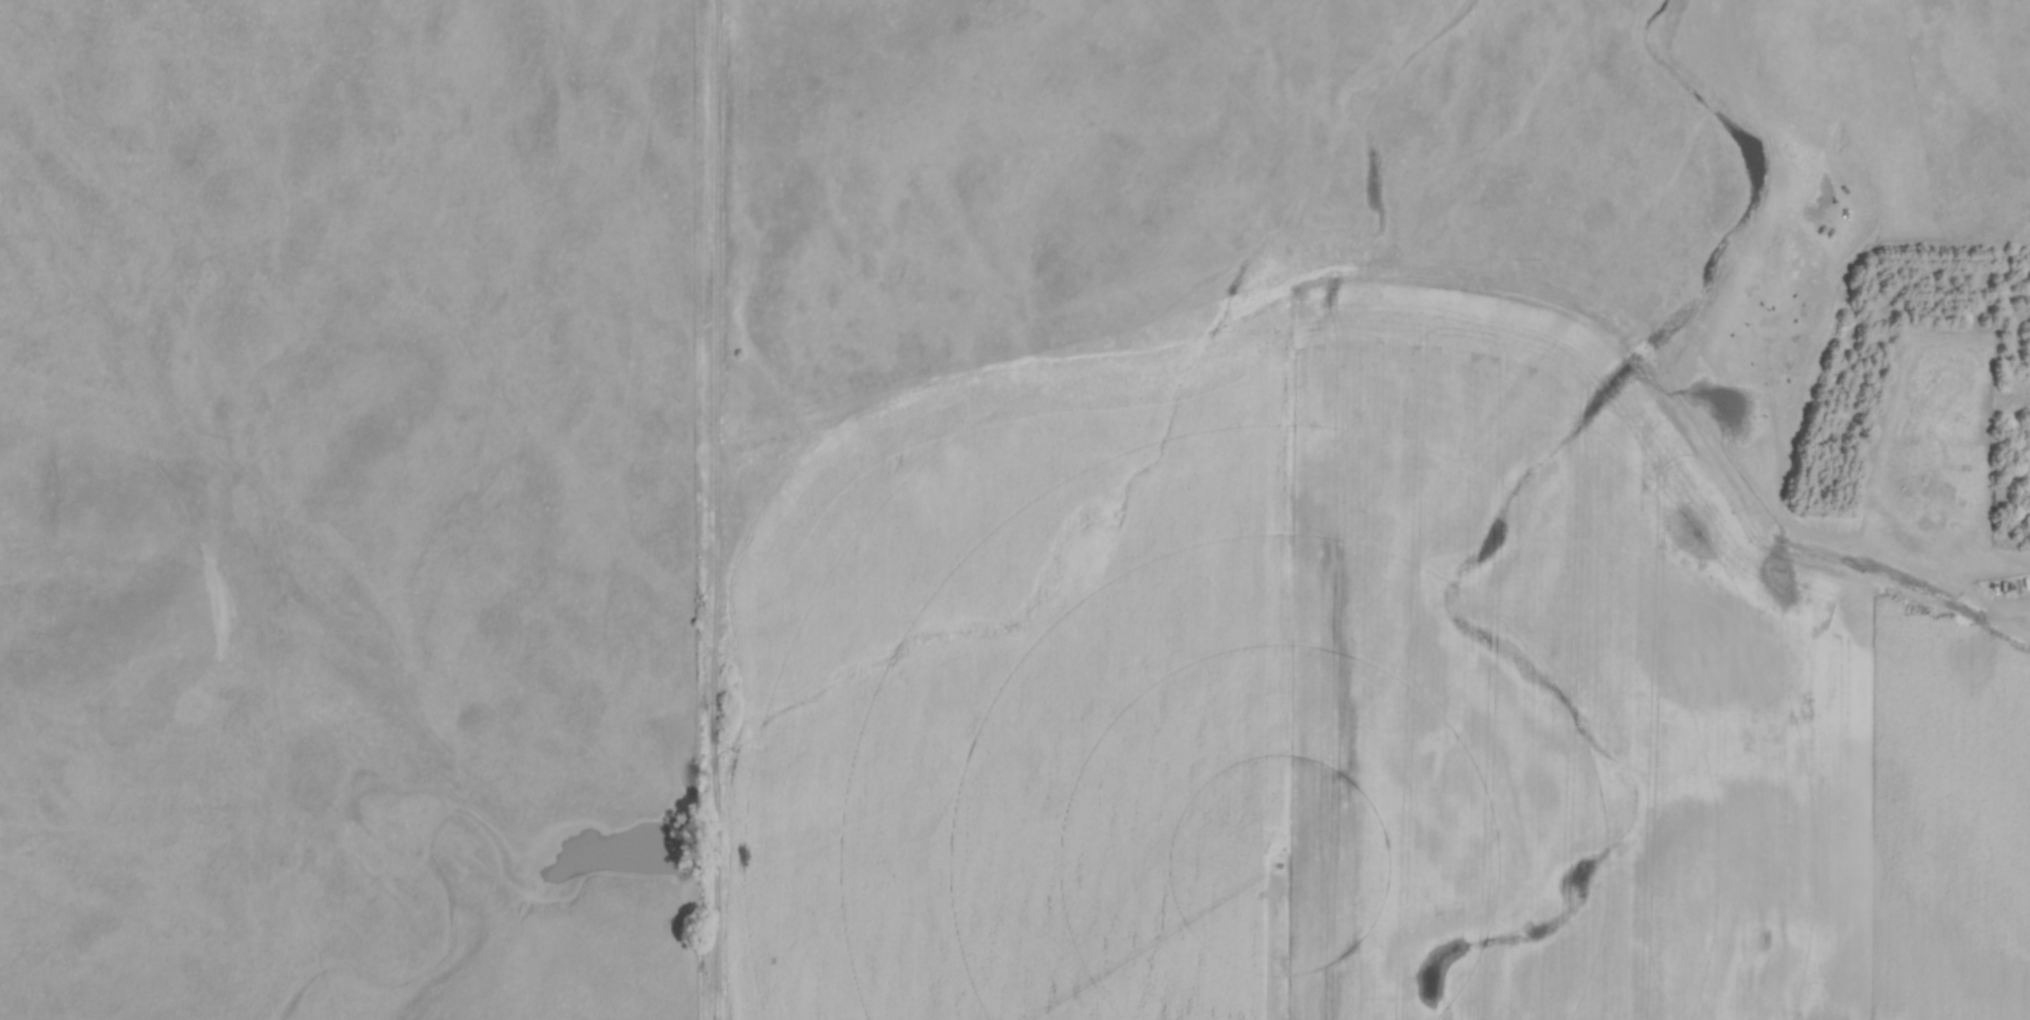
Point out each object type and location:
road: (713, 509)

